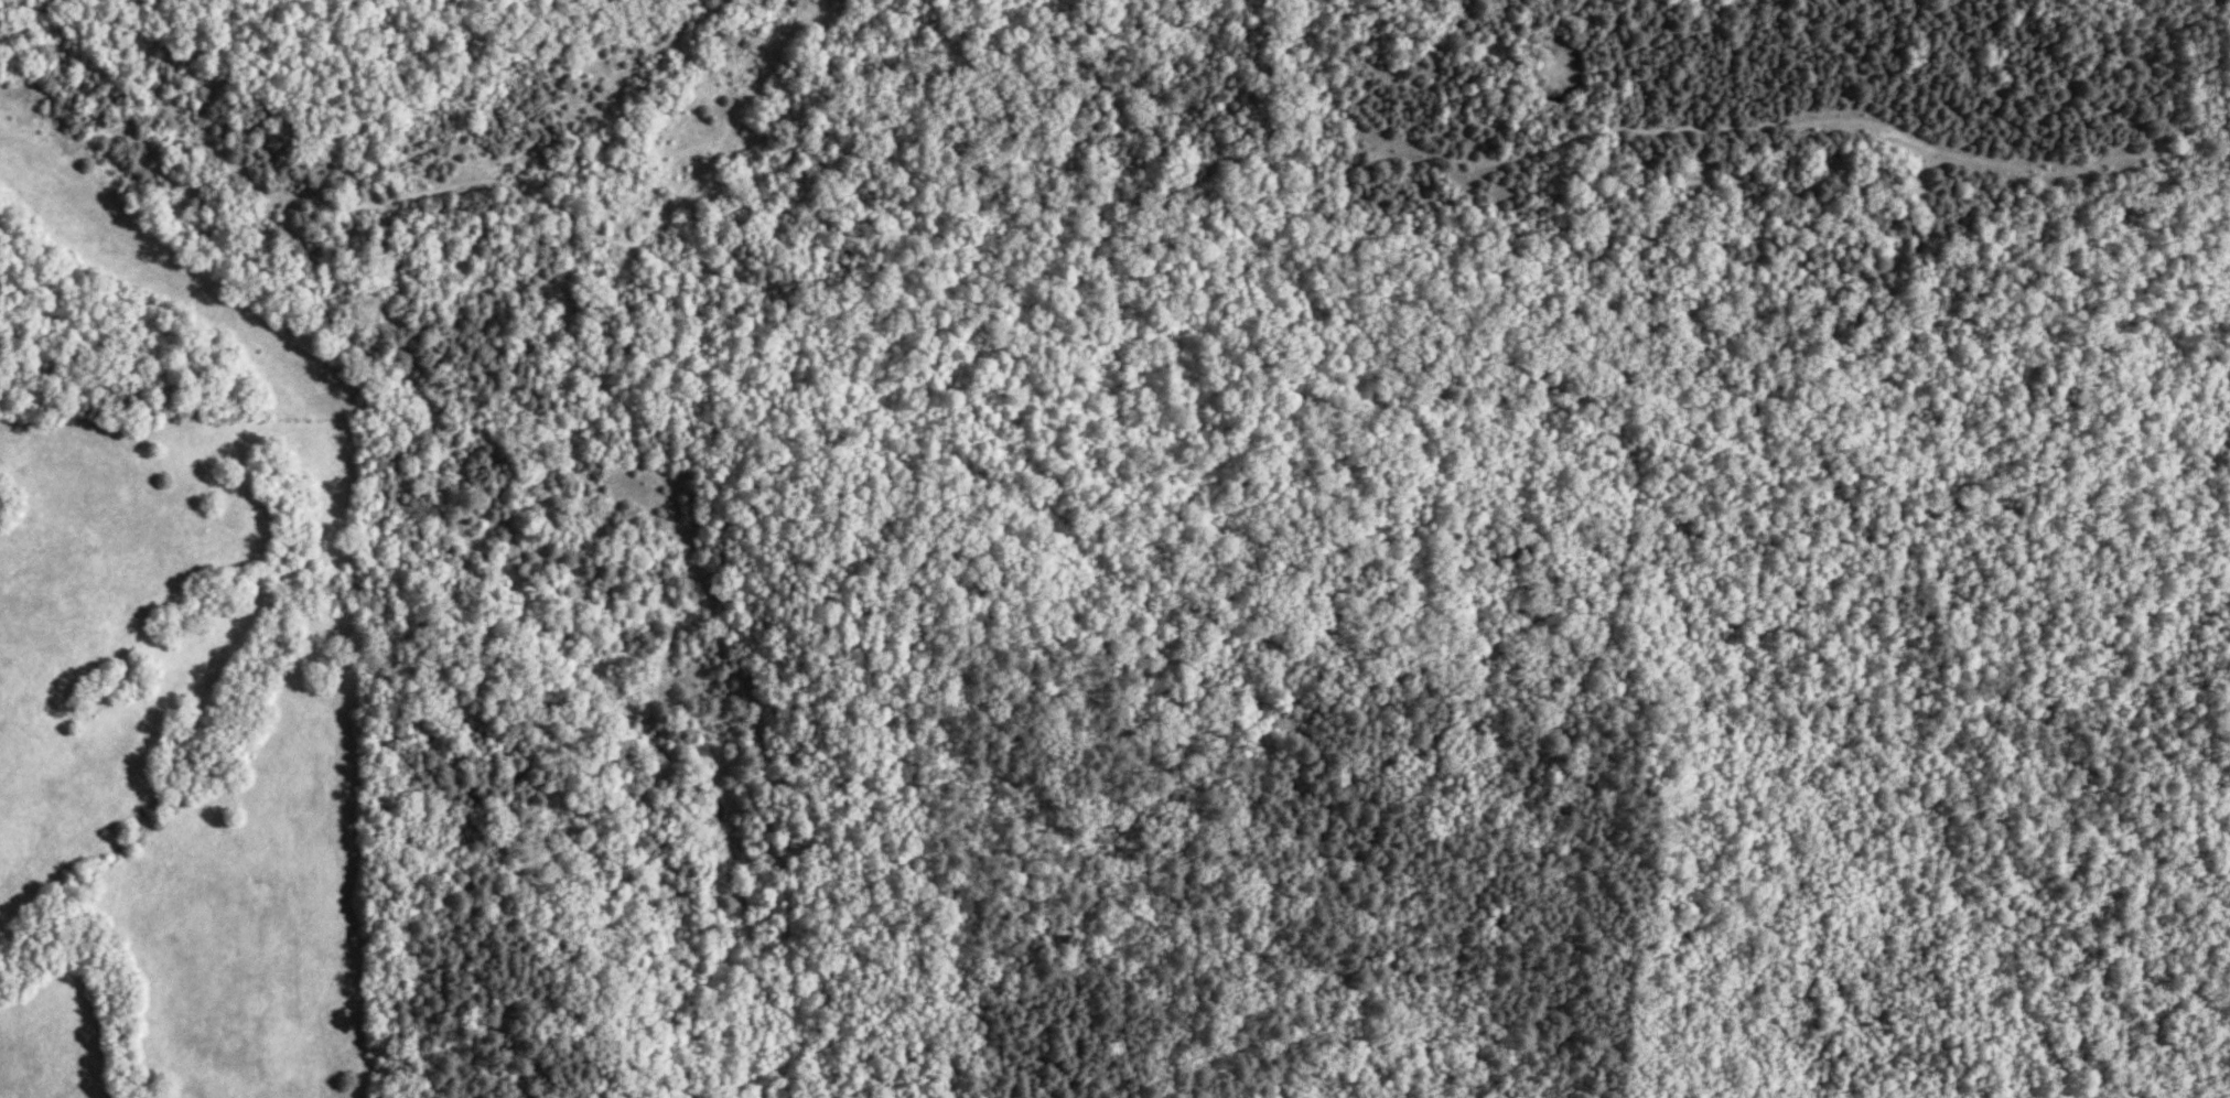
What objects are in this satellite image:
road: (1953, 108)

